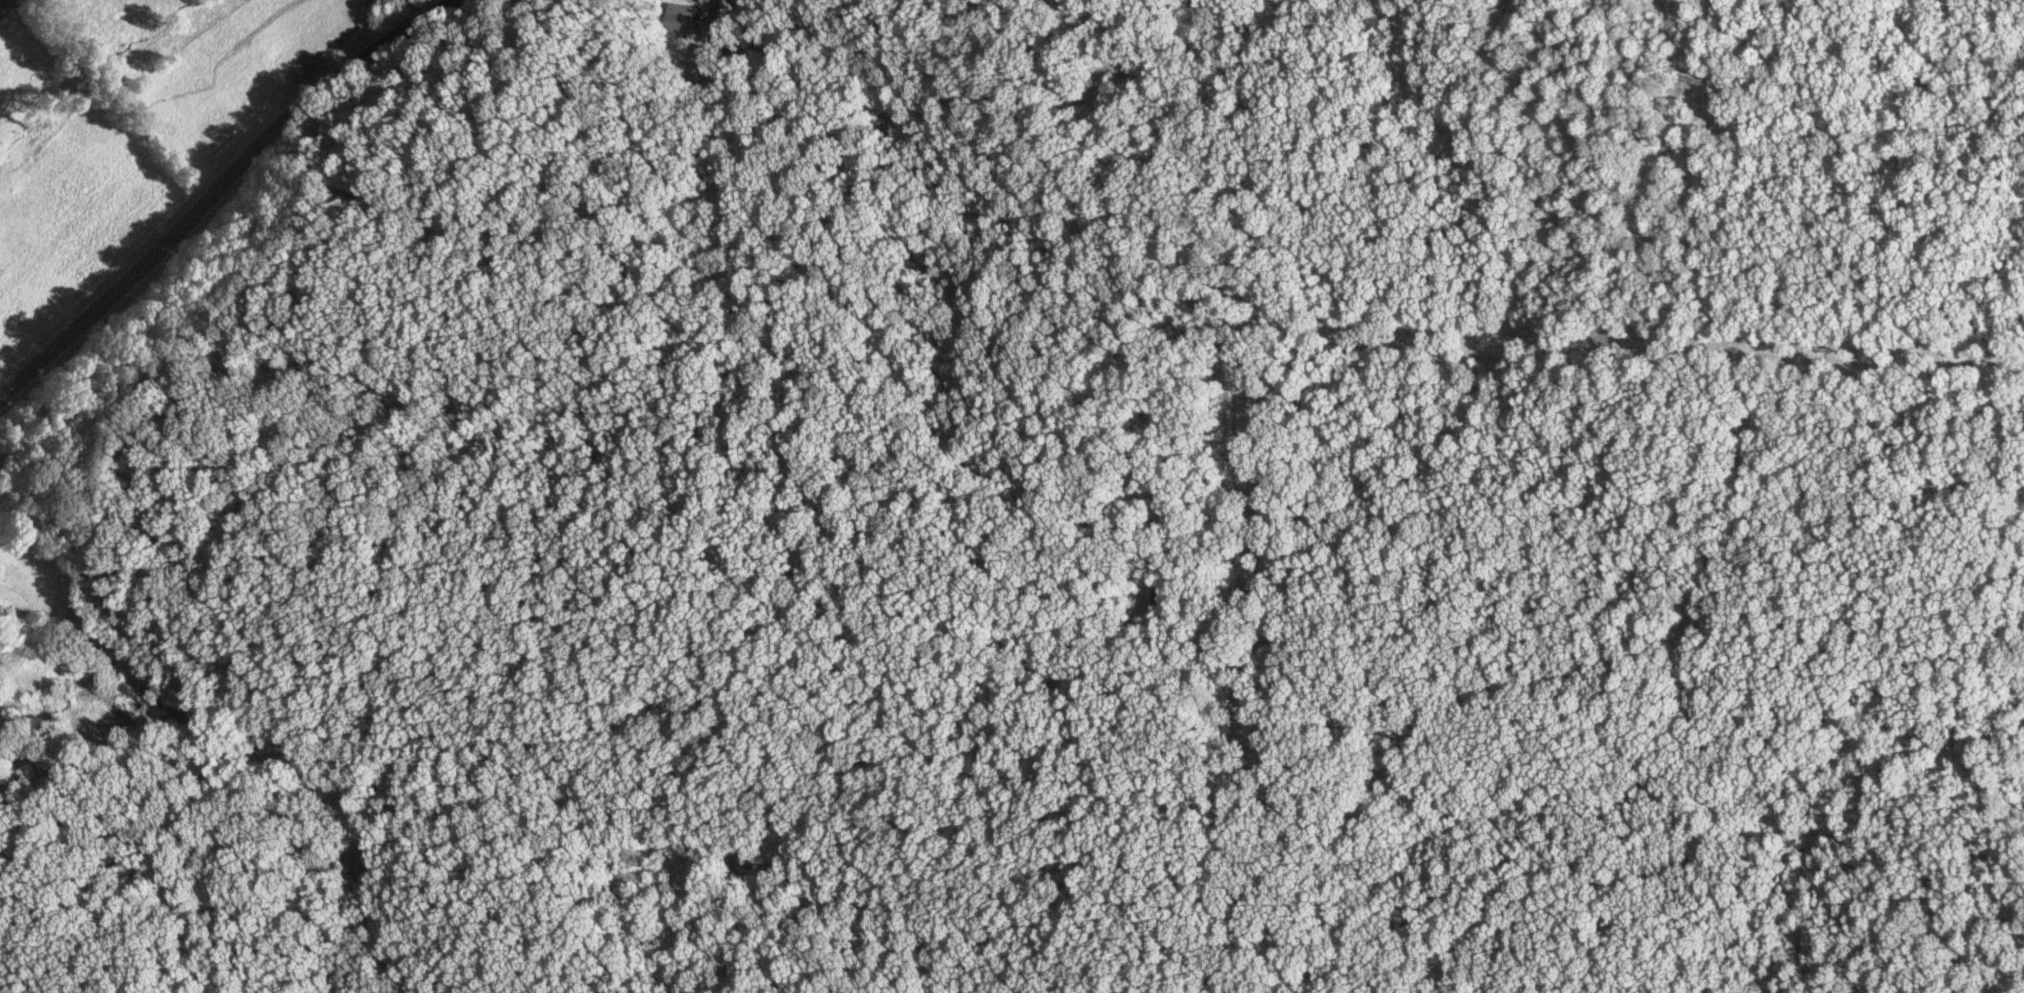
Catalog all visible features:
railway: (3, 2)
building: (678, 19)
road: (216, 185)

